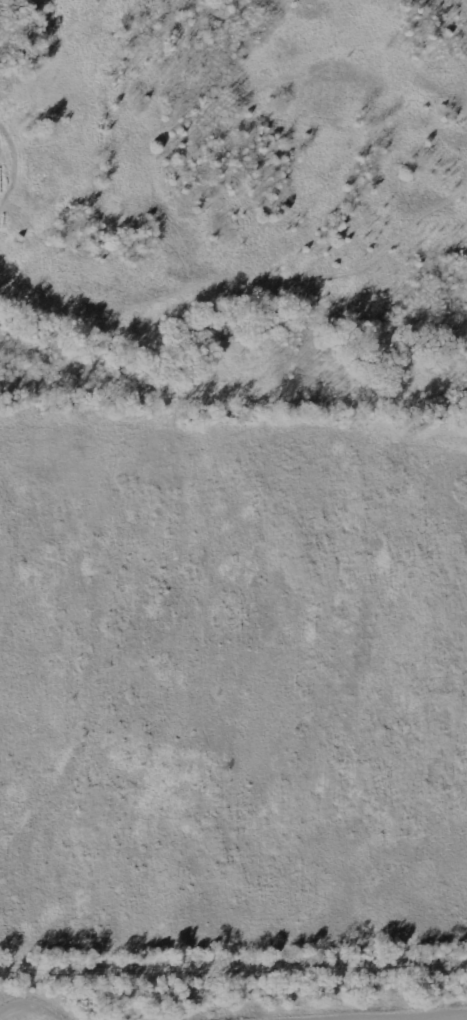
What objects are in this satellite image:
road: (233, 957)

